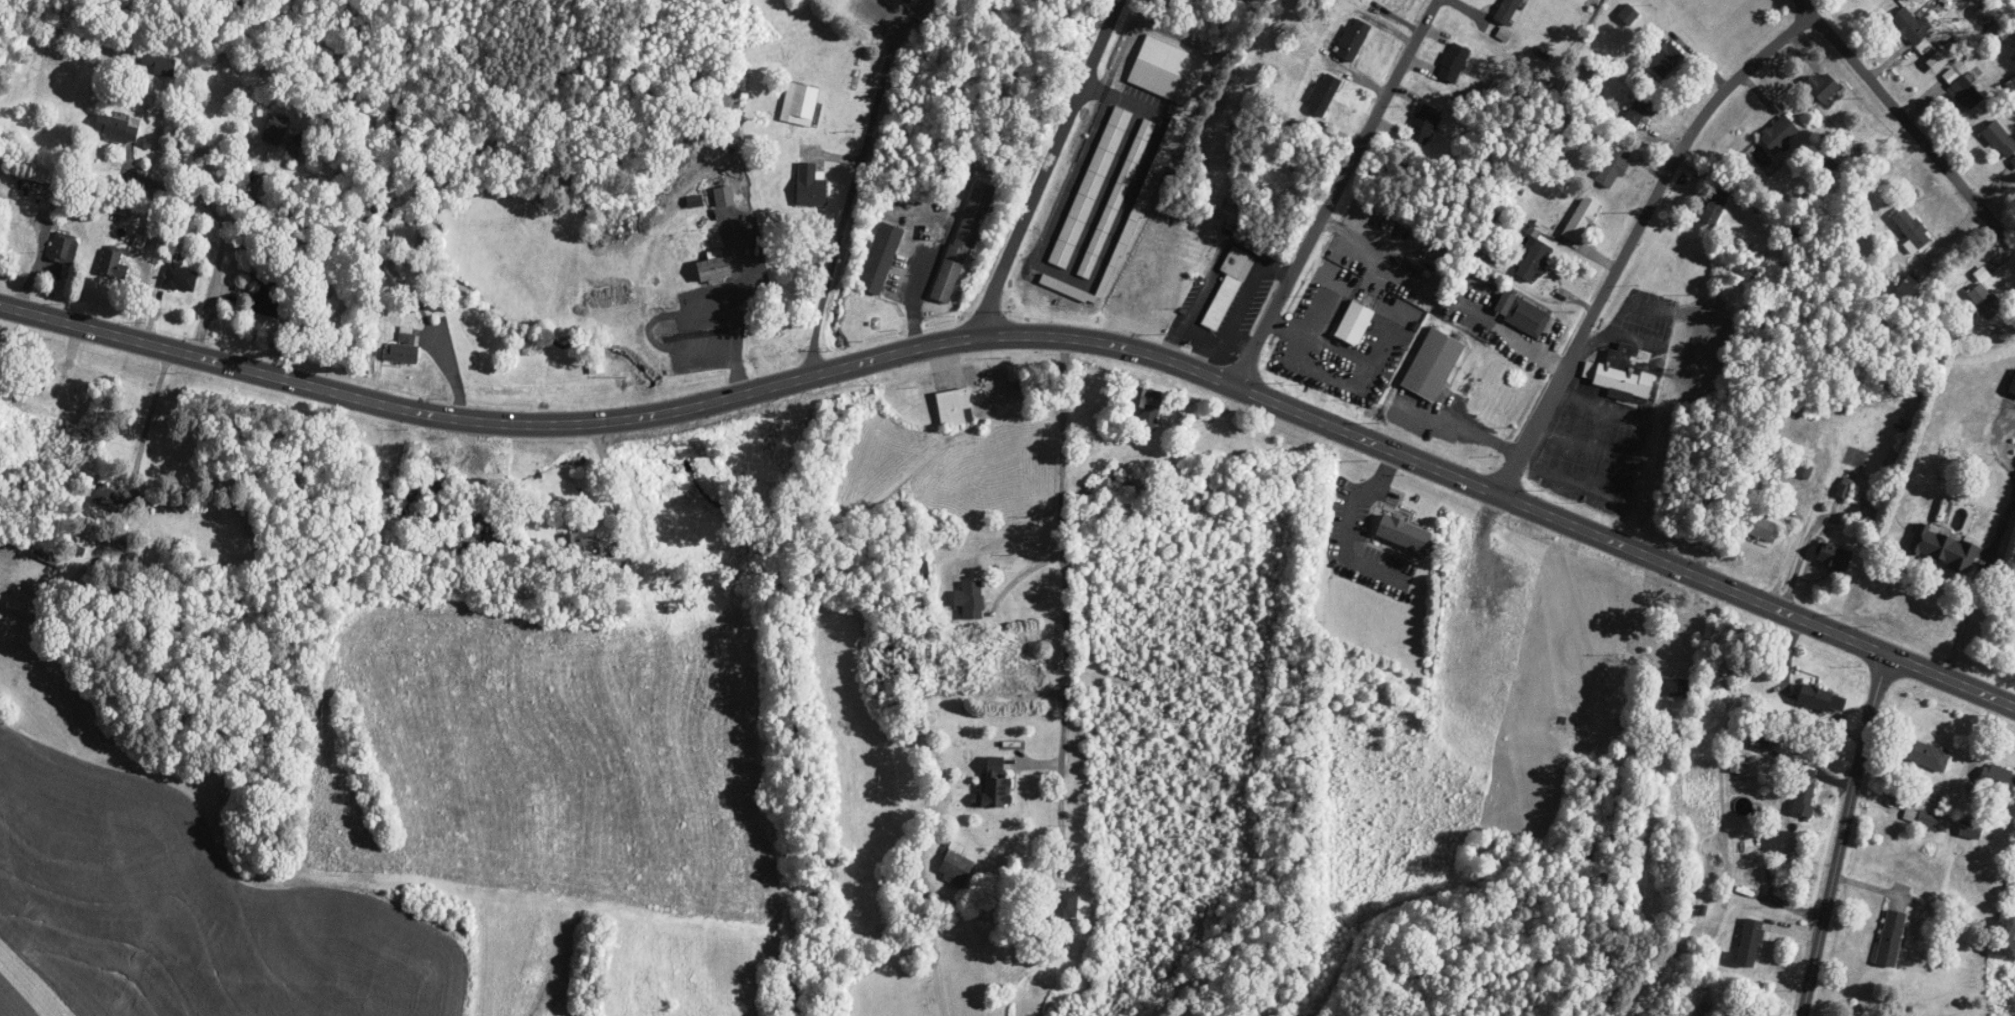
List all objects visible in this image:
building: (1505, 11)
building: (1628, 14)
building: (1985, 16)
building: (1910, 25)
building: (1351, 39)
building: (1665, 60)
building: (1452, 63)
building: (162, 65)
building: (1821, 86)
building: (1963, 89)
building: (1322, 94)
building: (799, 104)
building: (1637, 109)
road: (1909, 121)
building: (1423, 123)
building: (118, 127)
building: (278, 129)
building: (1778, 134)
building: (1999, 138)
road: (997, 143)
building: (1613, 166)
road: (1054, 169)
building: (809, 185)
road: (174, 187)
road: (1338, 192)
road: (851, 194)
building: (62, 195)
building: (723, 196)
road: (230, 207)
building: (1714, 207)
building: (1580, 218)
building: (1911, 227)
road: (1639, 236)
building: (962, 242)
building: (249, 243)
building: (65, 247)
building: (880, 258)
building: (1533, 260)
building: (113, 263)
building: (712, 267)
building: (181, 277)
road: (920, 283)
building: (1227, 287)
building: (267, 297)
building: (1985, 300)
road: (739, 313)
building: (1527, 317)
building: (1354, 322)
road: (650, 328)
road: (1030, 334)
building: (401, 353)
building: (1432, 364)
building: (1624, 373)
building: (597, 379)
building: (2011, 386)
building: (86, 395)
building: (952, 406)
building: (1146, 407)
road: (148, 420)
road: (1466, 430)
road: (1589, 440)
building: (1804, 469)
road: (612, 475)
road: (1635, 477)
road: (1574, 480)
building: (437, 484)
building: (108, 498)
building: (469, 513)
road: (1067, 516)
road: (1348, 521)
building: (1763, 527)
building: (89, 530)
building: (1400, 533)
building: (579, 543)
building: (1951, 550)
road: (1802, 552)
building: (48, 556)
building: (1833, 557)
building: (920, 569)
building: (968, 599)
road: (1640, 612)
road: (1966, 613)
building: (1029, 677)
building: (1671, 687)
building: (1820, 699)
building: (1924, 754)
road: (1065, 771)
building: (1997, 778)
building: (996, 783)
building: (1805, 792)
building: (1920, 818)
building: (1969, 829)
road: (1847, 832)
building: (954, 866)
building: (1066, 906)
building: (1889, 939)
building: (1749, 943)

